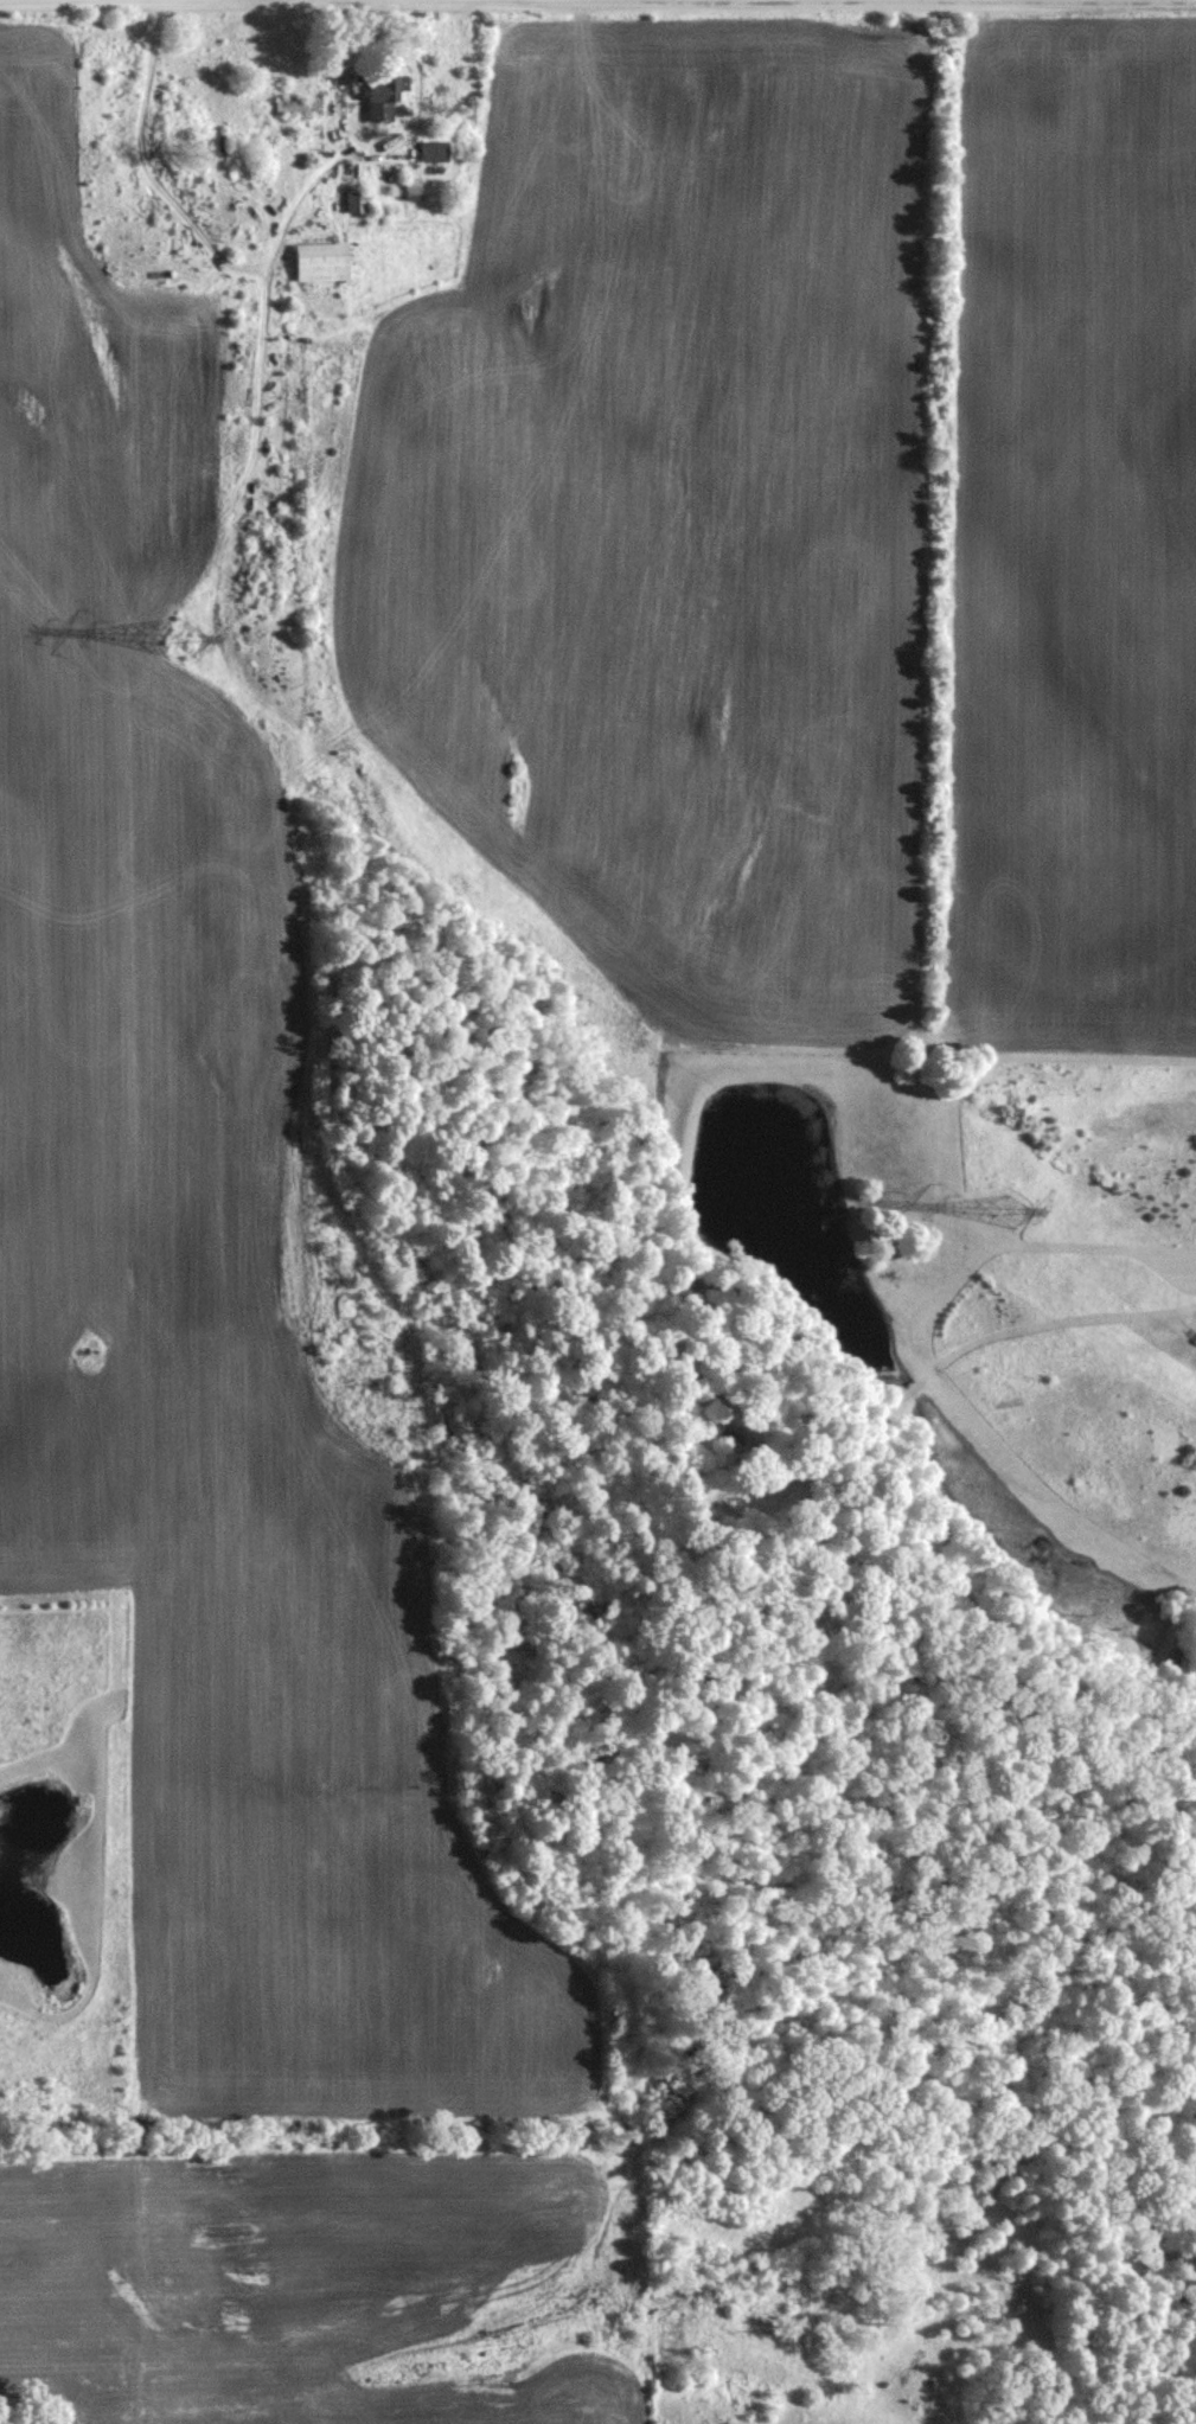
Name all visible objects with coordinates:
road: (597, 4)
building: (382, 97)
building: (296, 105)
building: (431, 152)
building: (410, 190)
building: (356, 202)
building: (320, 262)
power tower: (181, 644)
power tower: (1005, 1211)

